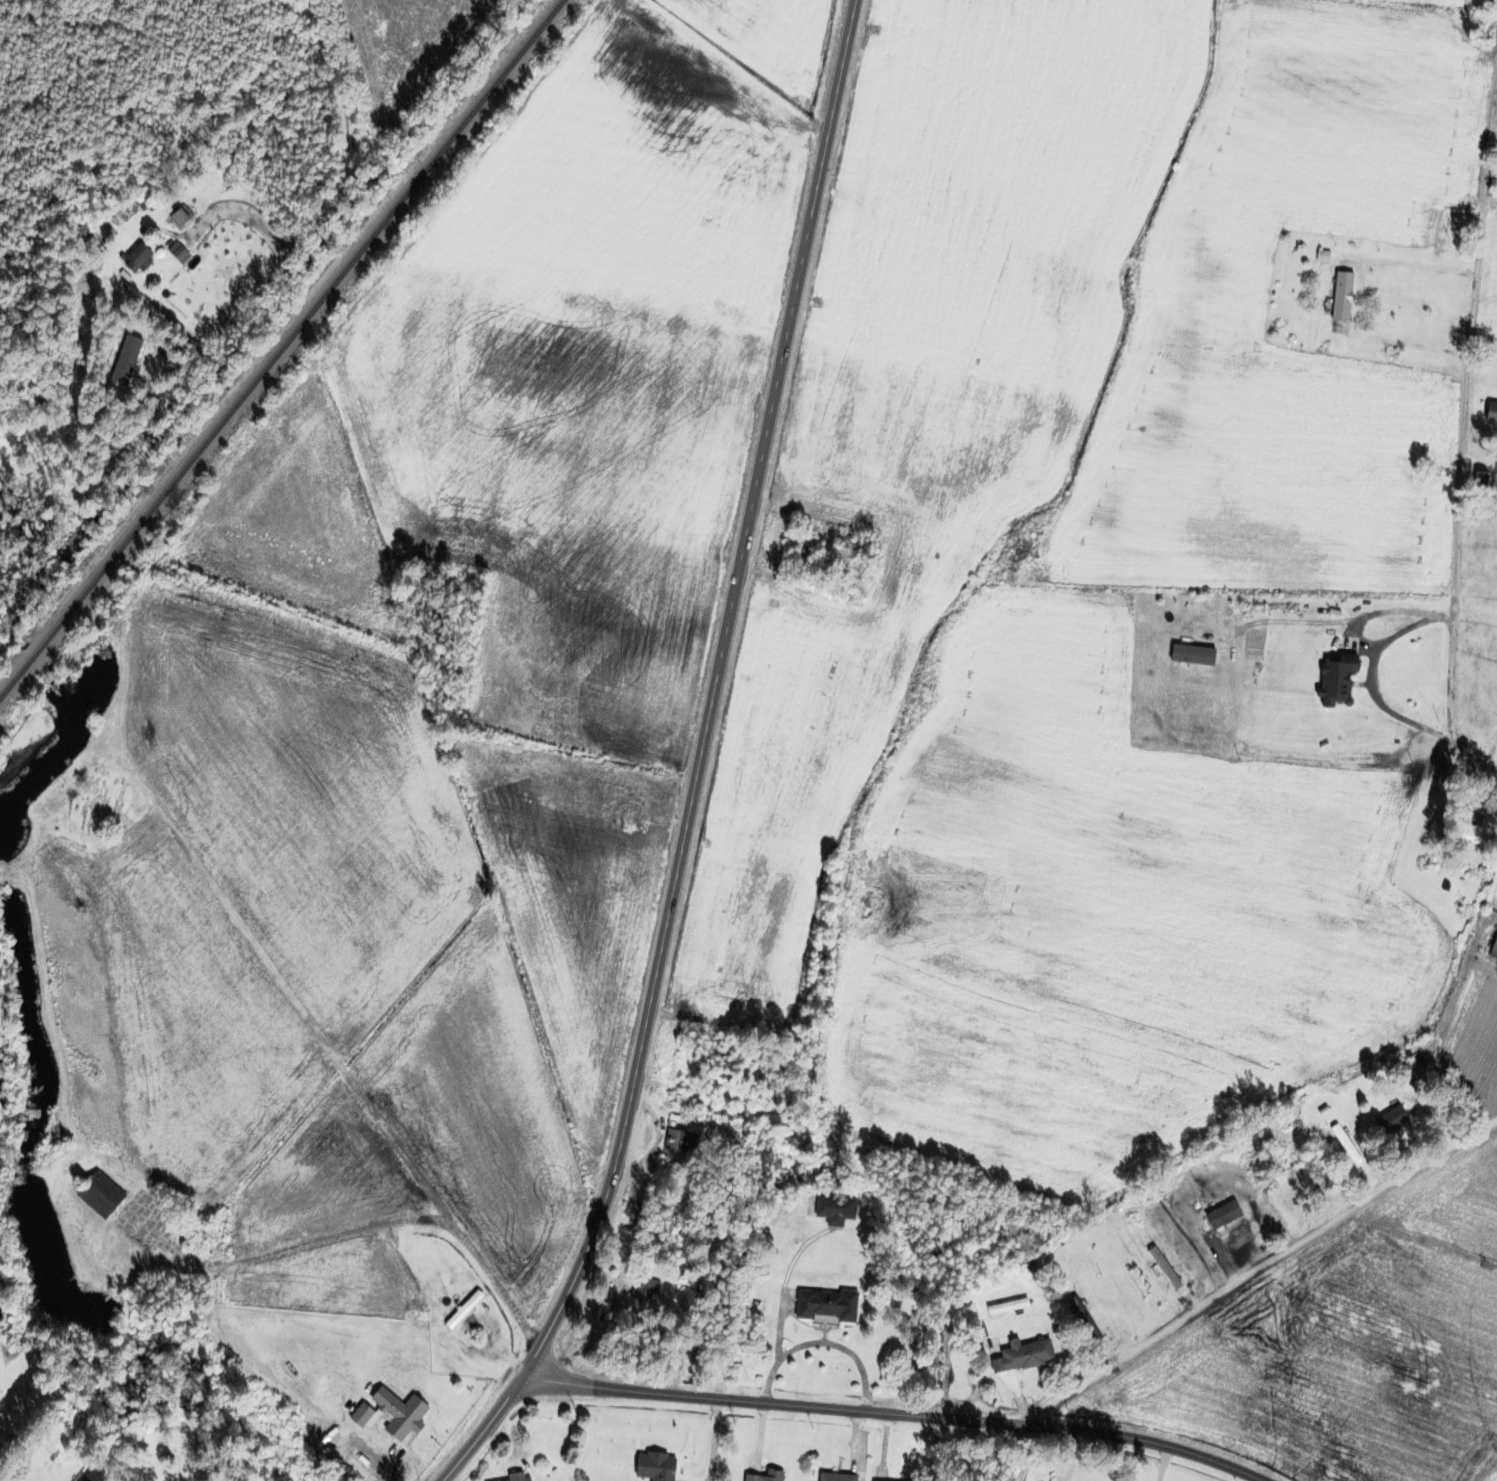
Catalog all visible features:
road: (313, 223)
building: (134, 259)
building: (1338, 306)
railway: (280, 348)
building: (1482, 476)
road: (1466, 493)
building: (1332, 678)
road: (708, 761)
building: (1465, 832)
building: (1493, 948)
road: (311, 1016)
building: (1409, 1071)
building: (1389, 1120)
building: (677, 1141)
building: (1342, 1143)
building: (96, 1194)
building: (832, 1209)
road: (382, 1212)
building: (1220, 1214)
building: (1161, 1268)
building: (643, 1290)
road: (1258, 1295)
building: (822, 1306)
building: (1004, 1306)
building: (461, 1310)
building: (1019, 1355)
road: (894, 1412)
building: (387, 1414)
building: (651, 1466)
building: (88, 1476)
building: (759, 1476)
building: (515, 1477)
building: (832, 1477)

